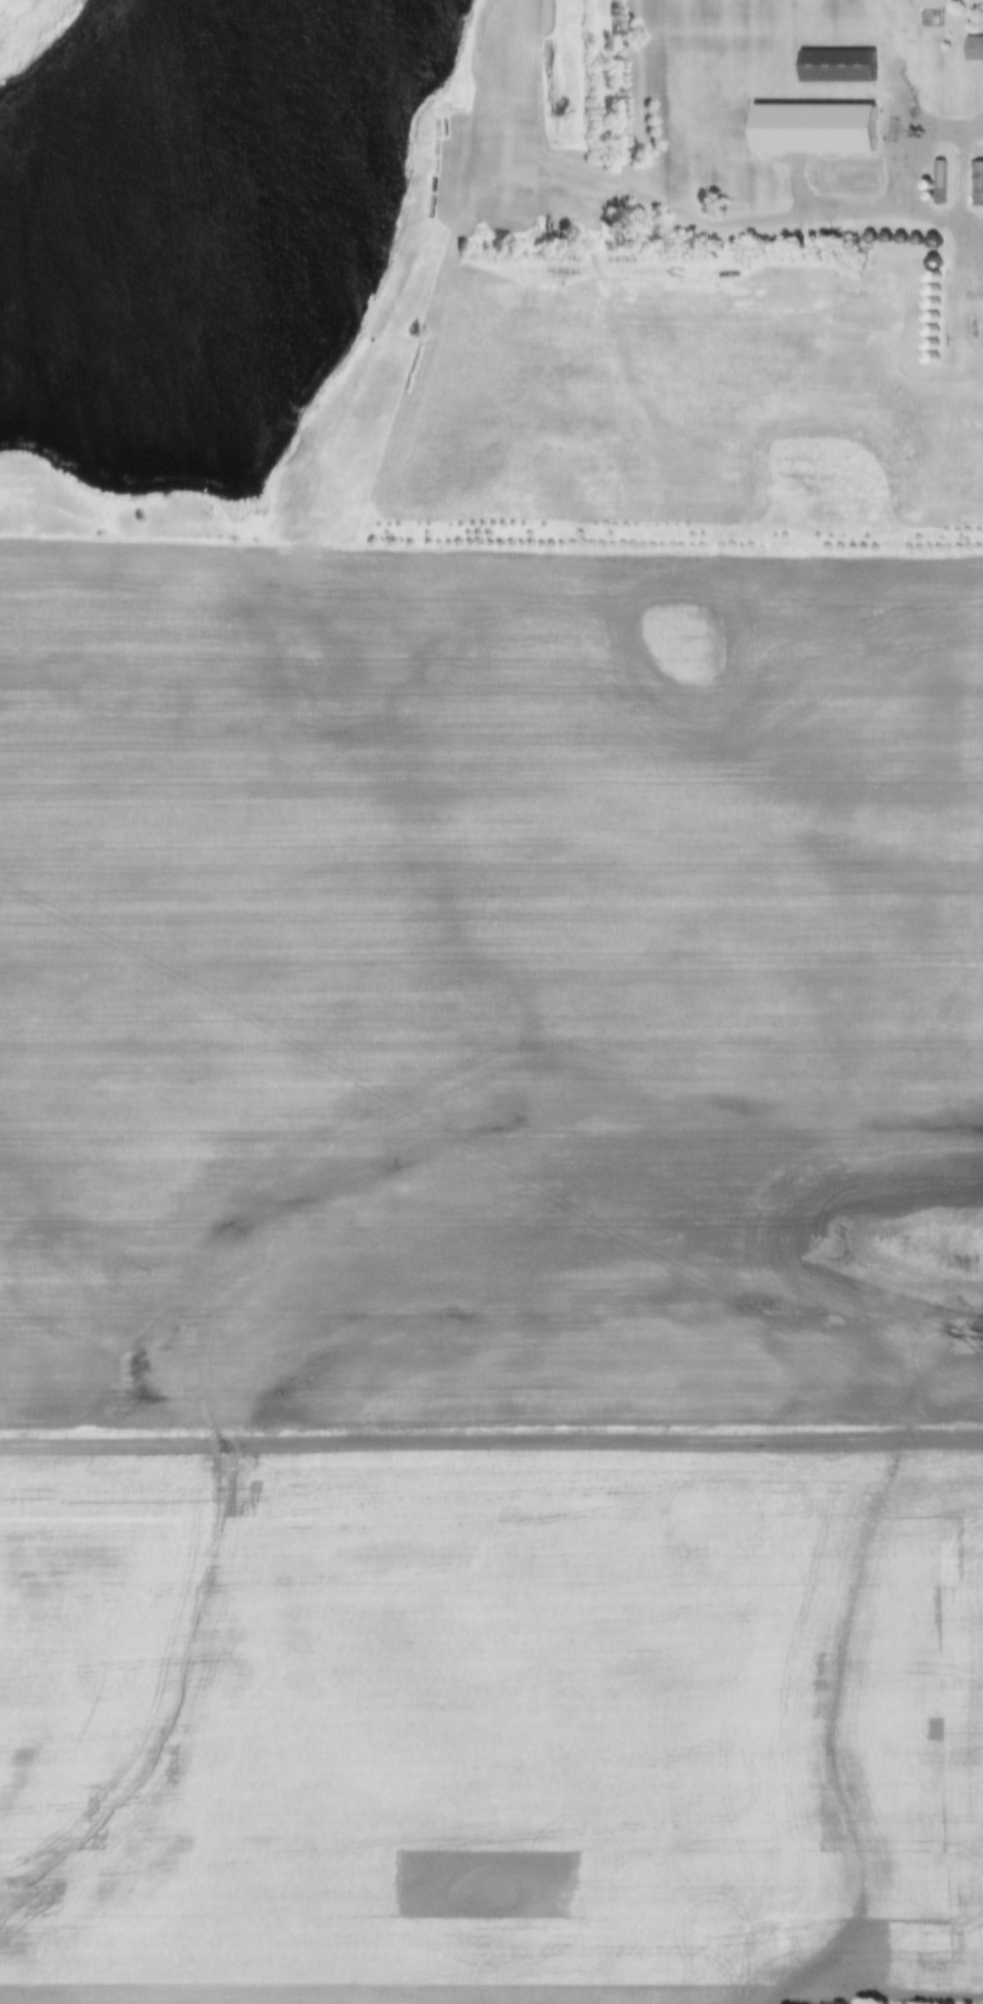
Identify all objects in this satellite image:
building: (972, 49)
building: (834, 66)
road: (903, 182)
building: (975, 184)
road: (633, 193)
road: (491, 1437)

